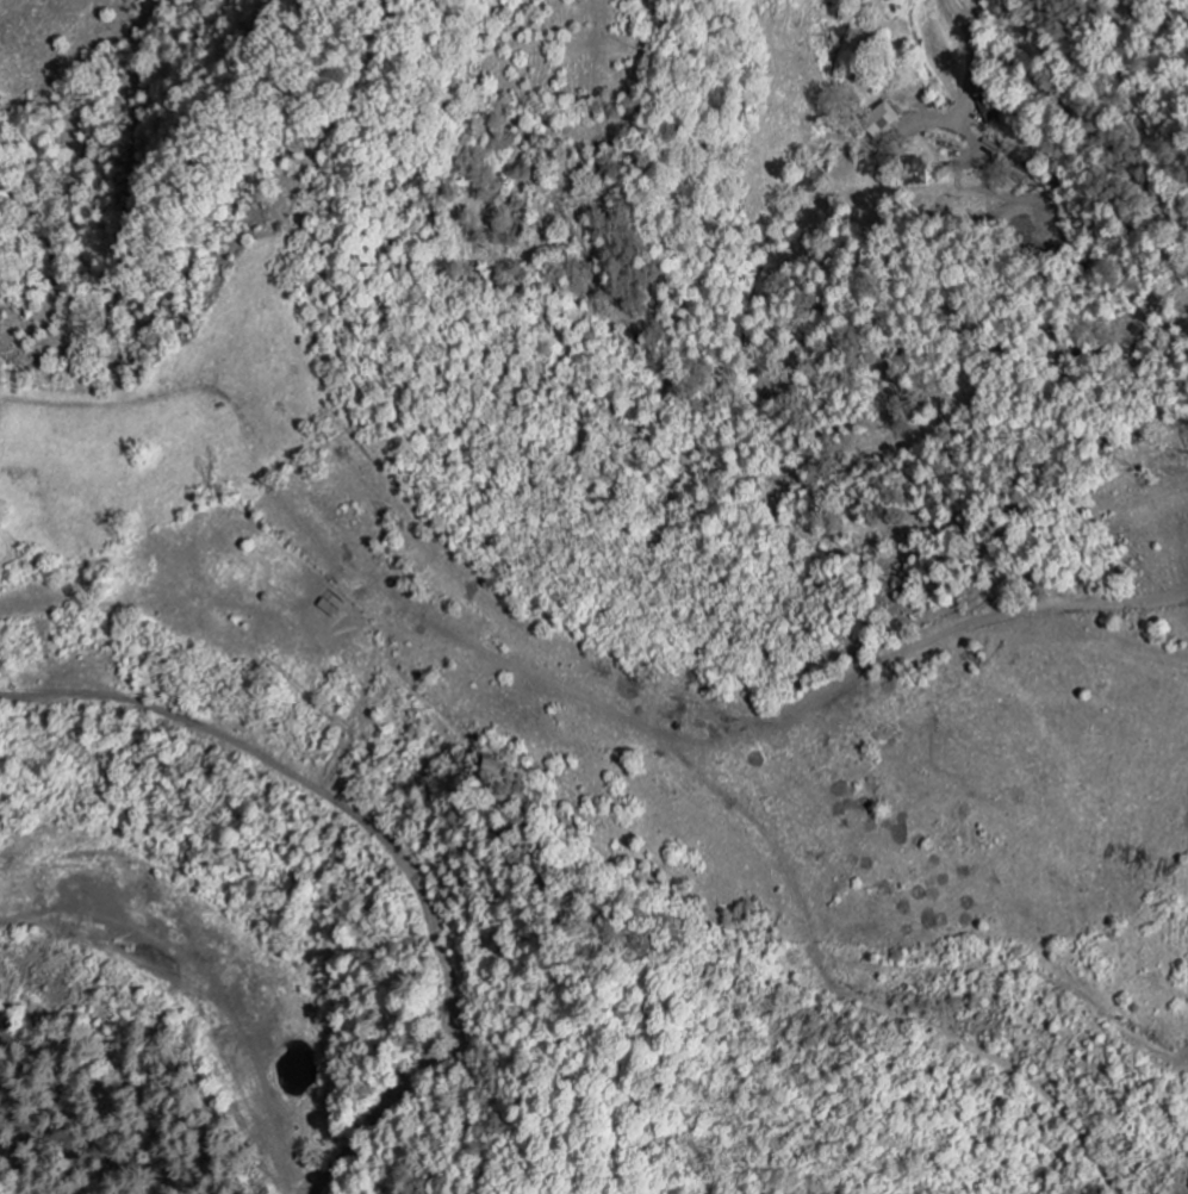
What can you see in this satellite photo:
road: (970, 60)
building: (885, 120)
building: (332, 609)

